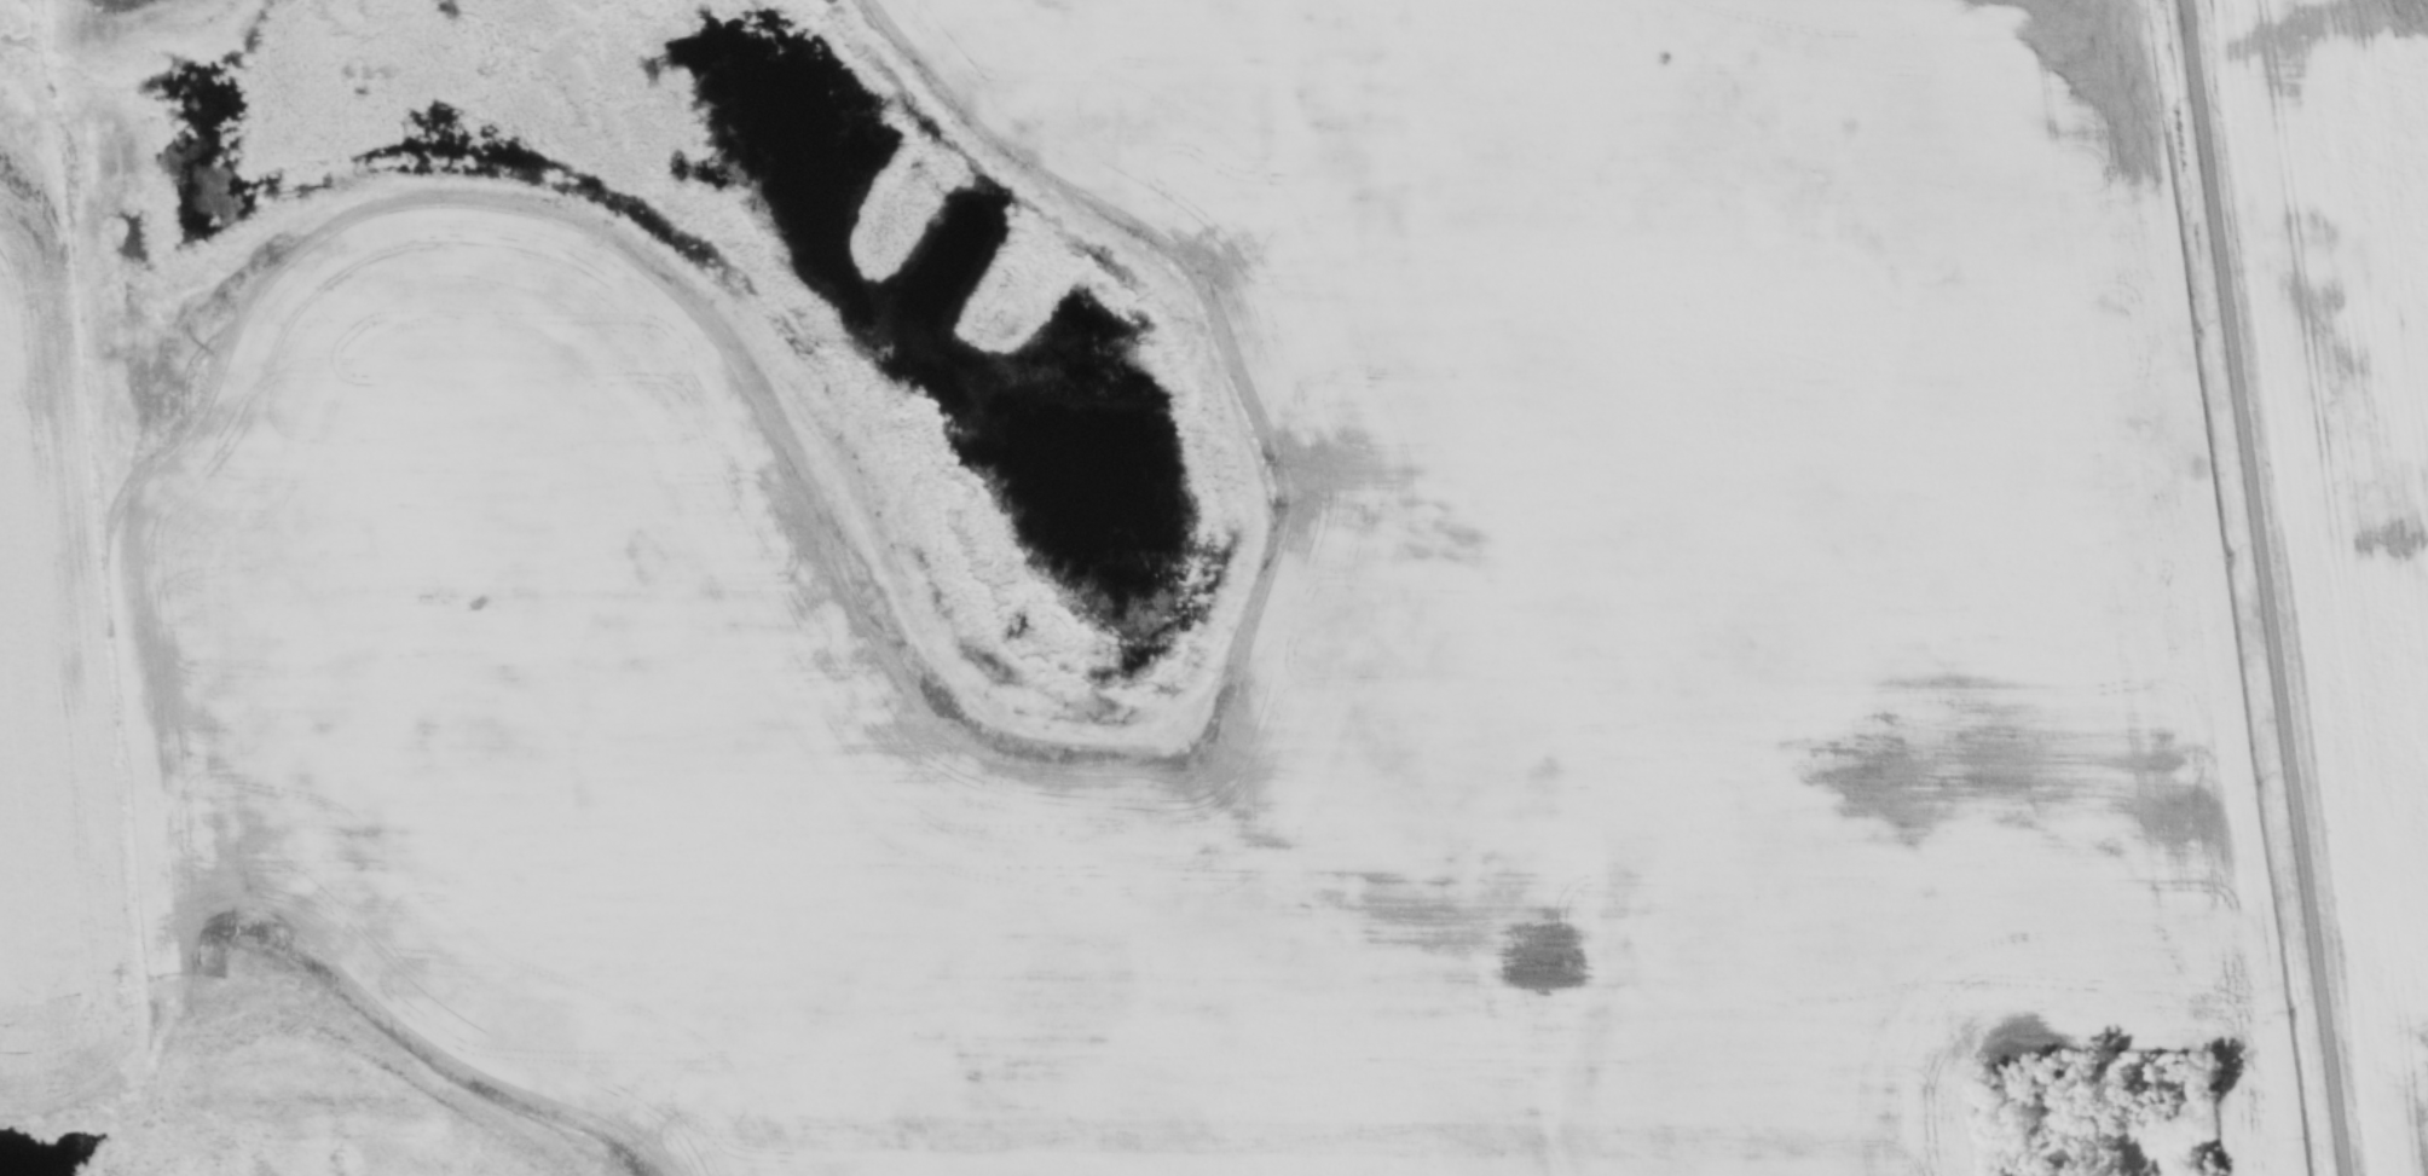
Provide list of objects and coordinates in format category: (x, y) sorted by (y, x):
road: (2260, 587)

